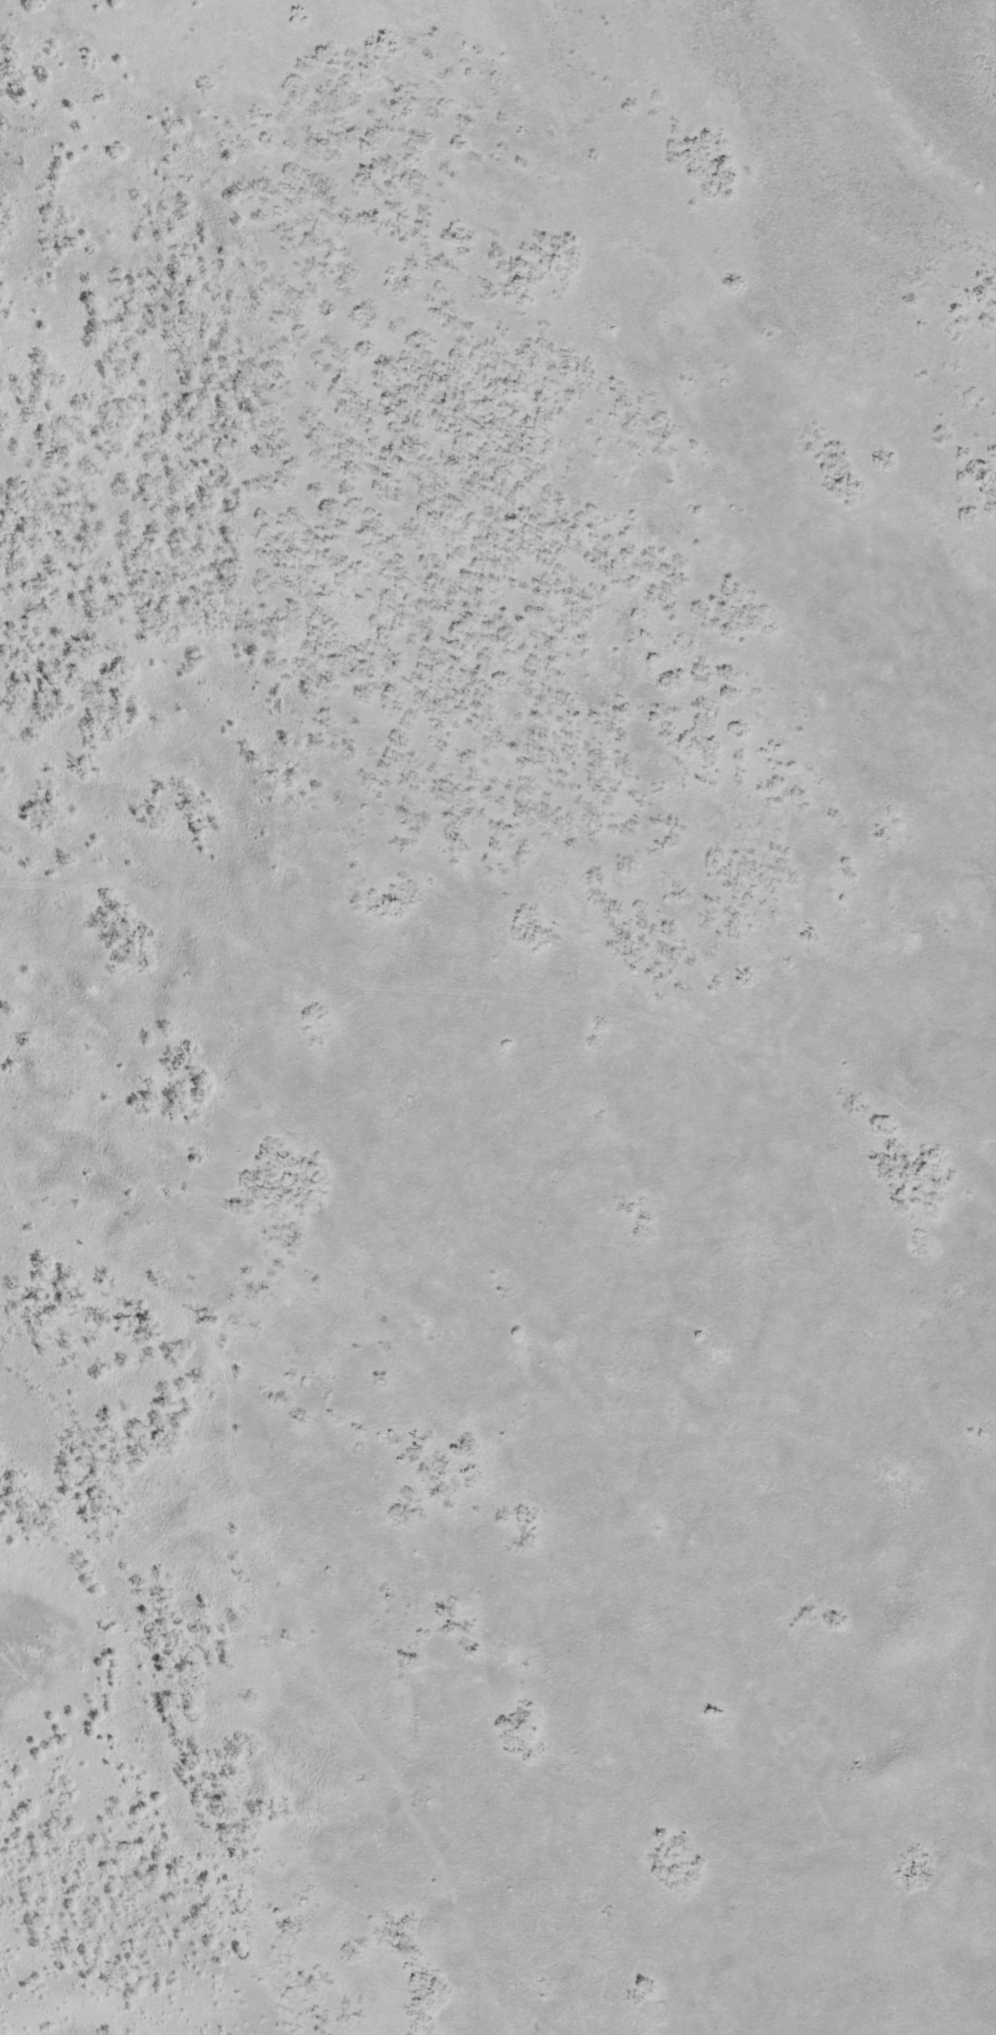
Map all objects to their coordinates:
road: (763, 245)

